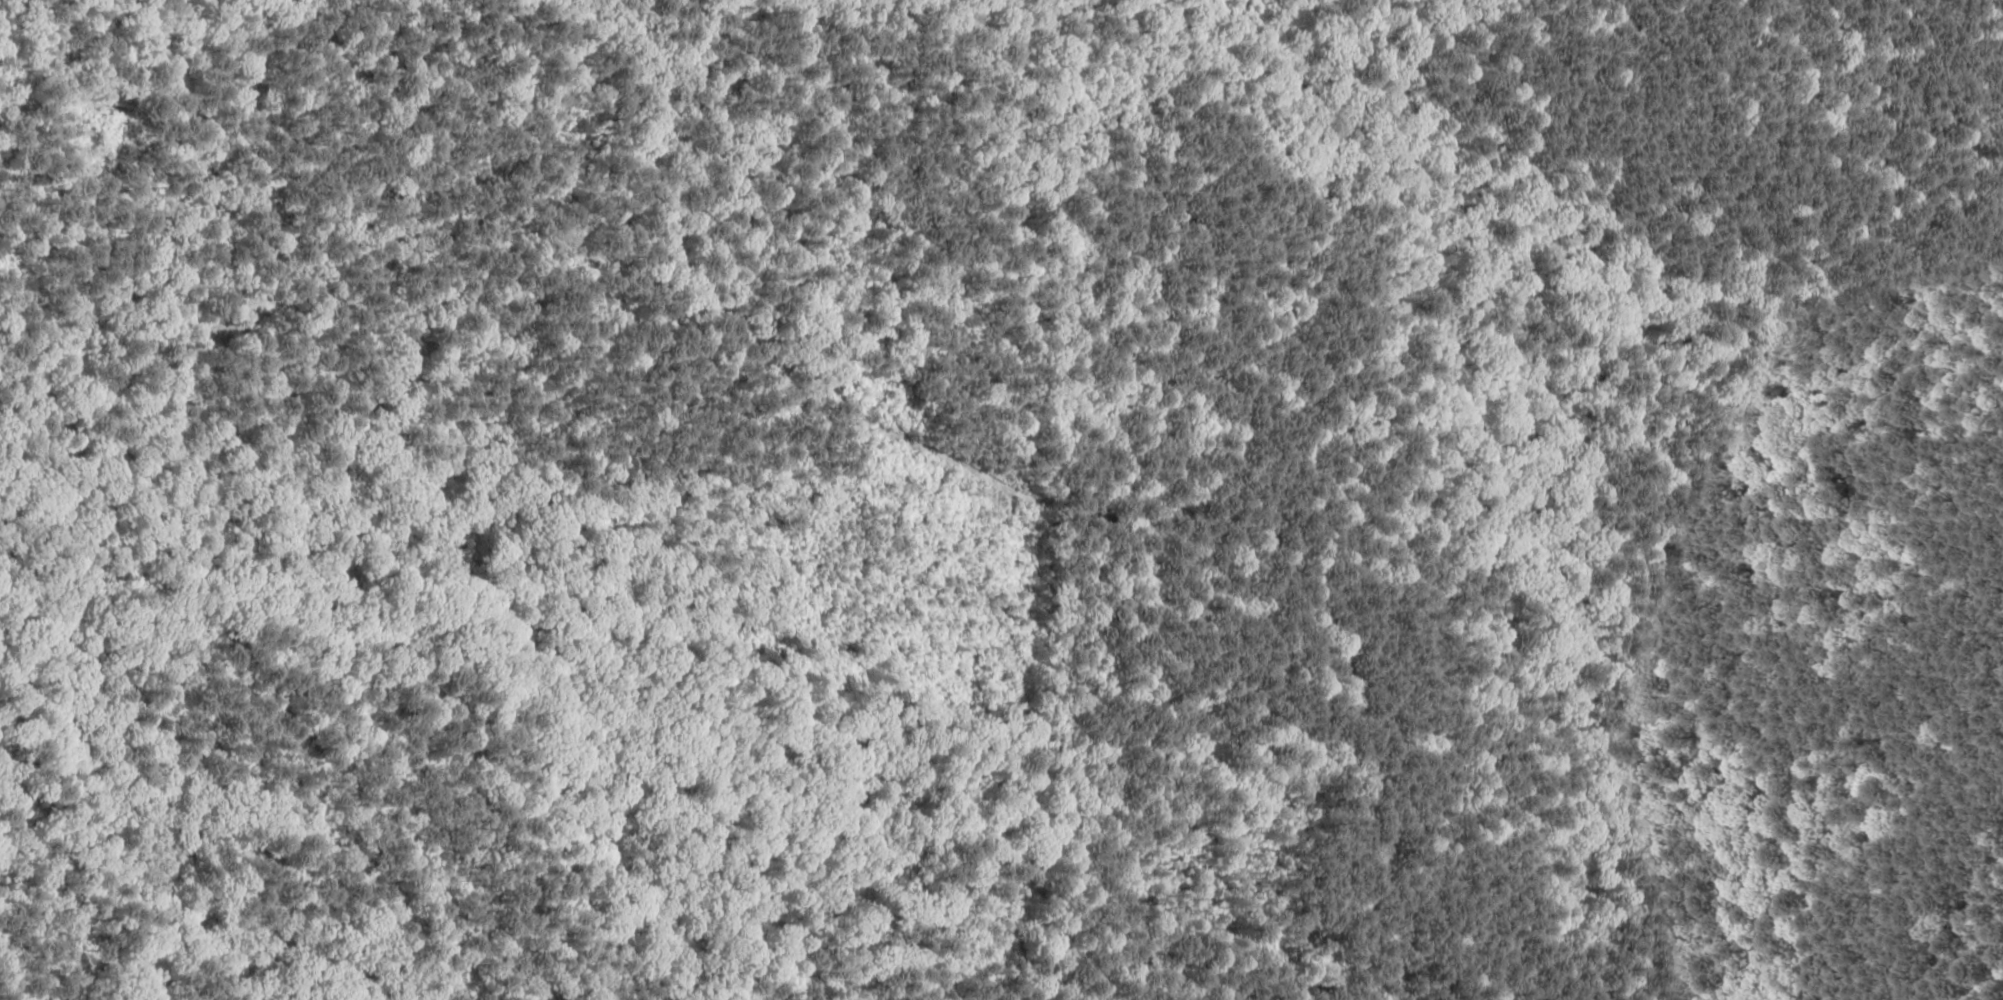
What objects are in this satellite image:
road: (1968, 936)

